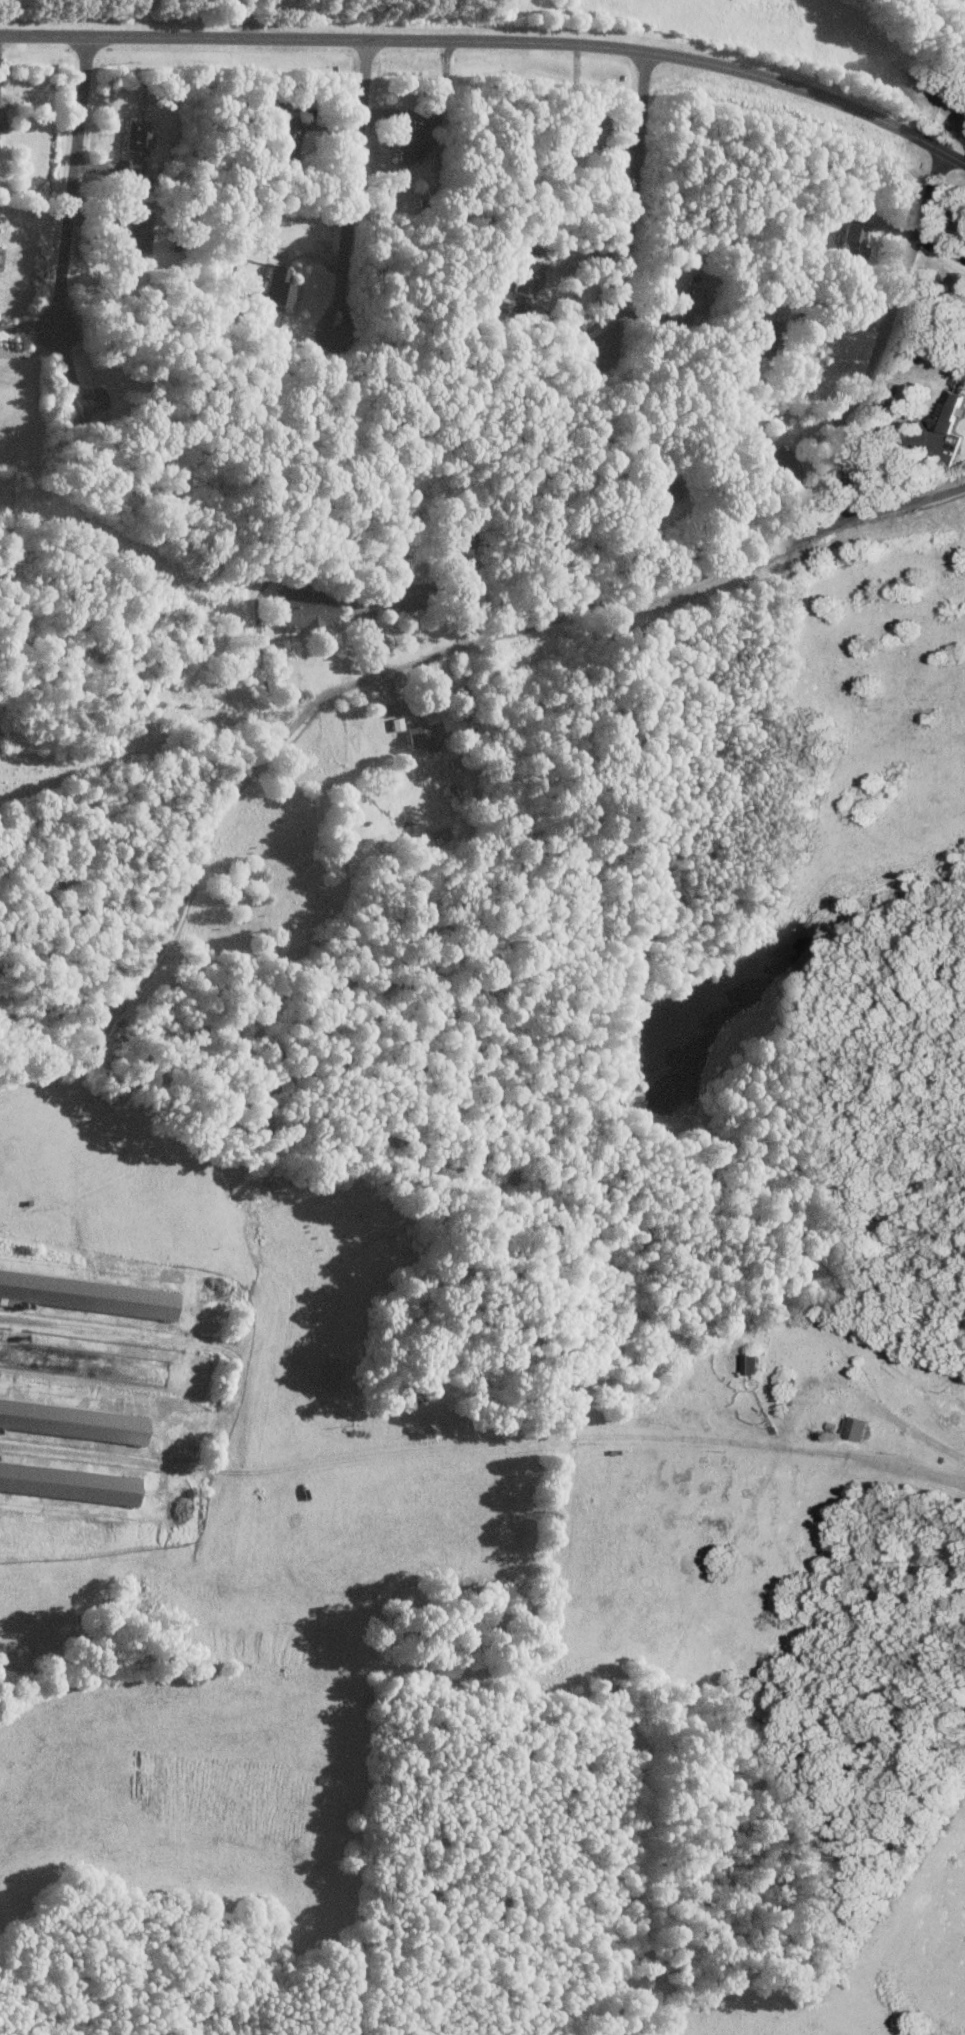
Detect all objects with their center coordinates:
road: (246, 14)
road: (494, 37)
building: (135, 135)
building: (288, 138)
building: (408, 143)
building: (134, 171)
road: (66, 177)
road: (631, 190)
road: (341, 198)
building: (136, 235)
building: (851, 242)
road: (936, 246)
building: (526, 277)
building: (277, 287)
building: (691, 298)
road: (890, 303)
road: (28, 327)
road: (34, 352)
building: (89, 400)
building: (947, 412)
building: (782, 465)
building: (657, 490)
building: (402, 596)
building: (305, 612)
road: (395, 664)
building: (425, 735)
building: (88, 1293)
building: (751, 1363)
building: (73, 1419)
building: (856, 1427)
road: (483, 1442)
building: (69, 1482)

